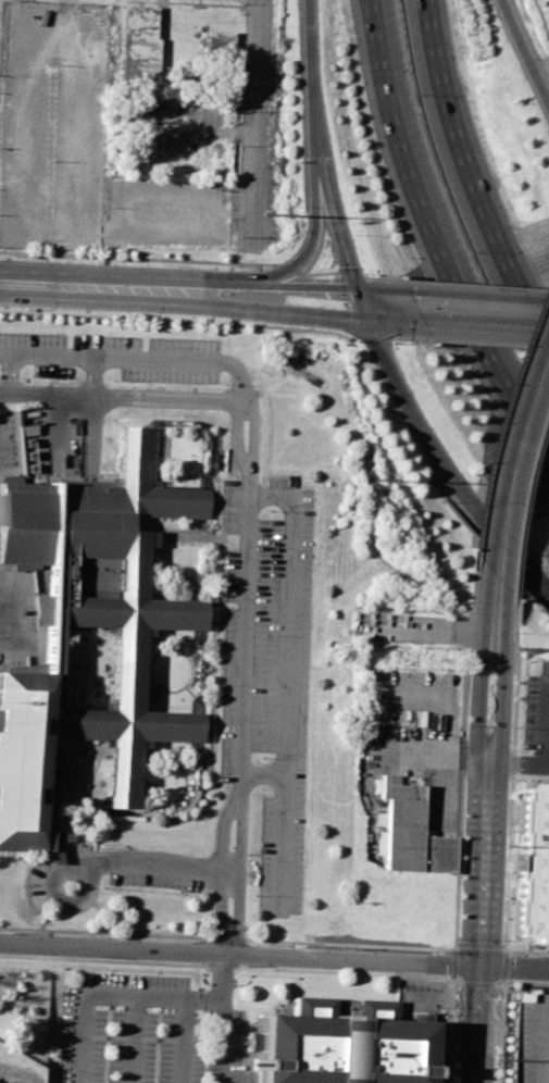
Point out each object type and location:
building: (140, 43)
road: (527, 46)
building: (220, 48)
road: (257, 115)
parking lot: (52, 123)
road: (320, 148)
road: (476, 162)
street lamp: (297, 206)
power tower: (266, 213)
road: (314, 215)
road: (437, 231)
street lamp: (358, 233)
street lamp: (236, 234)
street lamp: (23, 259)
street lamp: (91, 261)
street lamp: (165, 264)
street lamp: (372, 273)
road: (205, 285)
street lamp: (500, 289)
road: (481, 299)
road: (186, 306)
road: (366, 307)
street lamp: (21, 309)
street lamp: (128, 316)
road: (402, 324)
street lamp: (282, 331)
road: (490, 331)
street lamp: (399, 343)
road: (124, 359)
street lamp: (379, 393)
road: (502, 411)
road: (450, 458)
road: (515, 461)
road: (246, 476)
power tower: (372, 480)
street lamp: (446, 501)
road: (525, 501)
road: (7, 624)
road: (433, 632)
power tower: (519, 647)
building: (129, 653)
parking lot: (270, 670)
road: (285, 681)
road: (545, 726)
road: (462, 752)
road: (520, 765)
road: (260, 775)
road: (488, 830)
building: (413, 834)
road: (510, 841)
power tower: (508, 849)
building: (532, 863)
road: (162, 867)
road: (220, 873)
road: (238, 875)
road: (85, 900)
road: (478, 945)
road: (528, 951)
road: (274, 956)
road: (453, 966)
road: (228, 967)
road: (500, 984)
road: (89, 993)
road: (204, 998)
road: (223, 1018)
parking lot: (132, 1031)
road: (450, 1033)
building: (529, 1037)
parking garage: (529, 1037)
road: (134, 1040)
road: (183, 1041)
building: (339, 1045)
power tower: (499, 1060)

